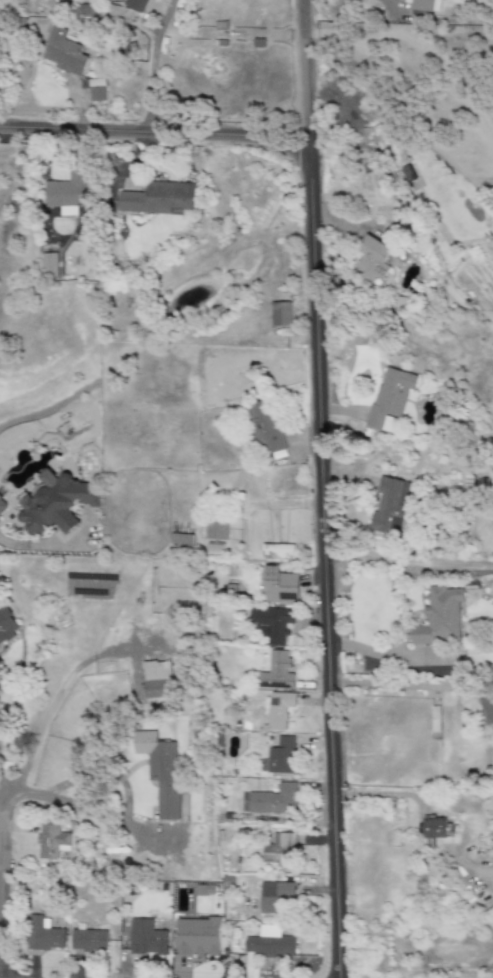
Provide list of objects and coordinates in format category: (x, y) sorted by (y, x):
building: (135, 5)
building: (425, 6)
building: (63, 53)
road: (152, 63)
building: (96, 90)
road: (152, 132)
building: (67, 191)
building: (158, 199)
building: (374, 260)
building: (49, 265)
building: (280, 314)
building: (390, 396)
building: (263, 429)
road: (319, 489)
building: (2, 504)
building: (388, 506)
building: (216, 530)
building: (183, 543)
building: (215, 552)
building: (276, 552)
building: (92, 588)
building: (282, 590)
building: (439, 617)
building: (7, 626)
building: (271, 632)
road: (384, 654)
building: (480, 655)
building: (279, 673)
building: (158, 678)
road: (407, 686)
building: (275, 720)
building: (294, 760)
building: (165, 778)
road: (2, 787)
building: (268, 801)
road: (74, 809)
building: (473, 827)
building: (434, 831)
road: (2, 838)
building: (62, 841)
building: (281, 850)
building: (275, 900)
building: (149, 938)
building: (47, 943)
building: (91, 944)
building: (201, 948)
building: (273, 949)

